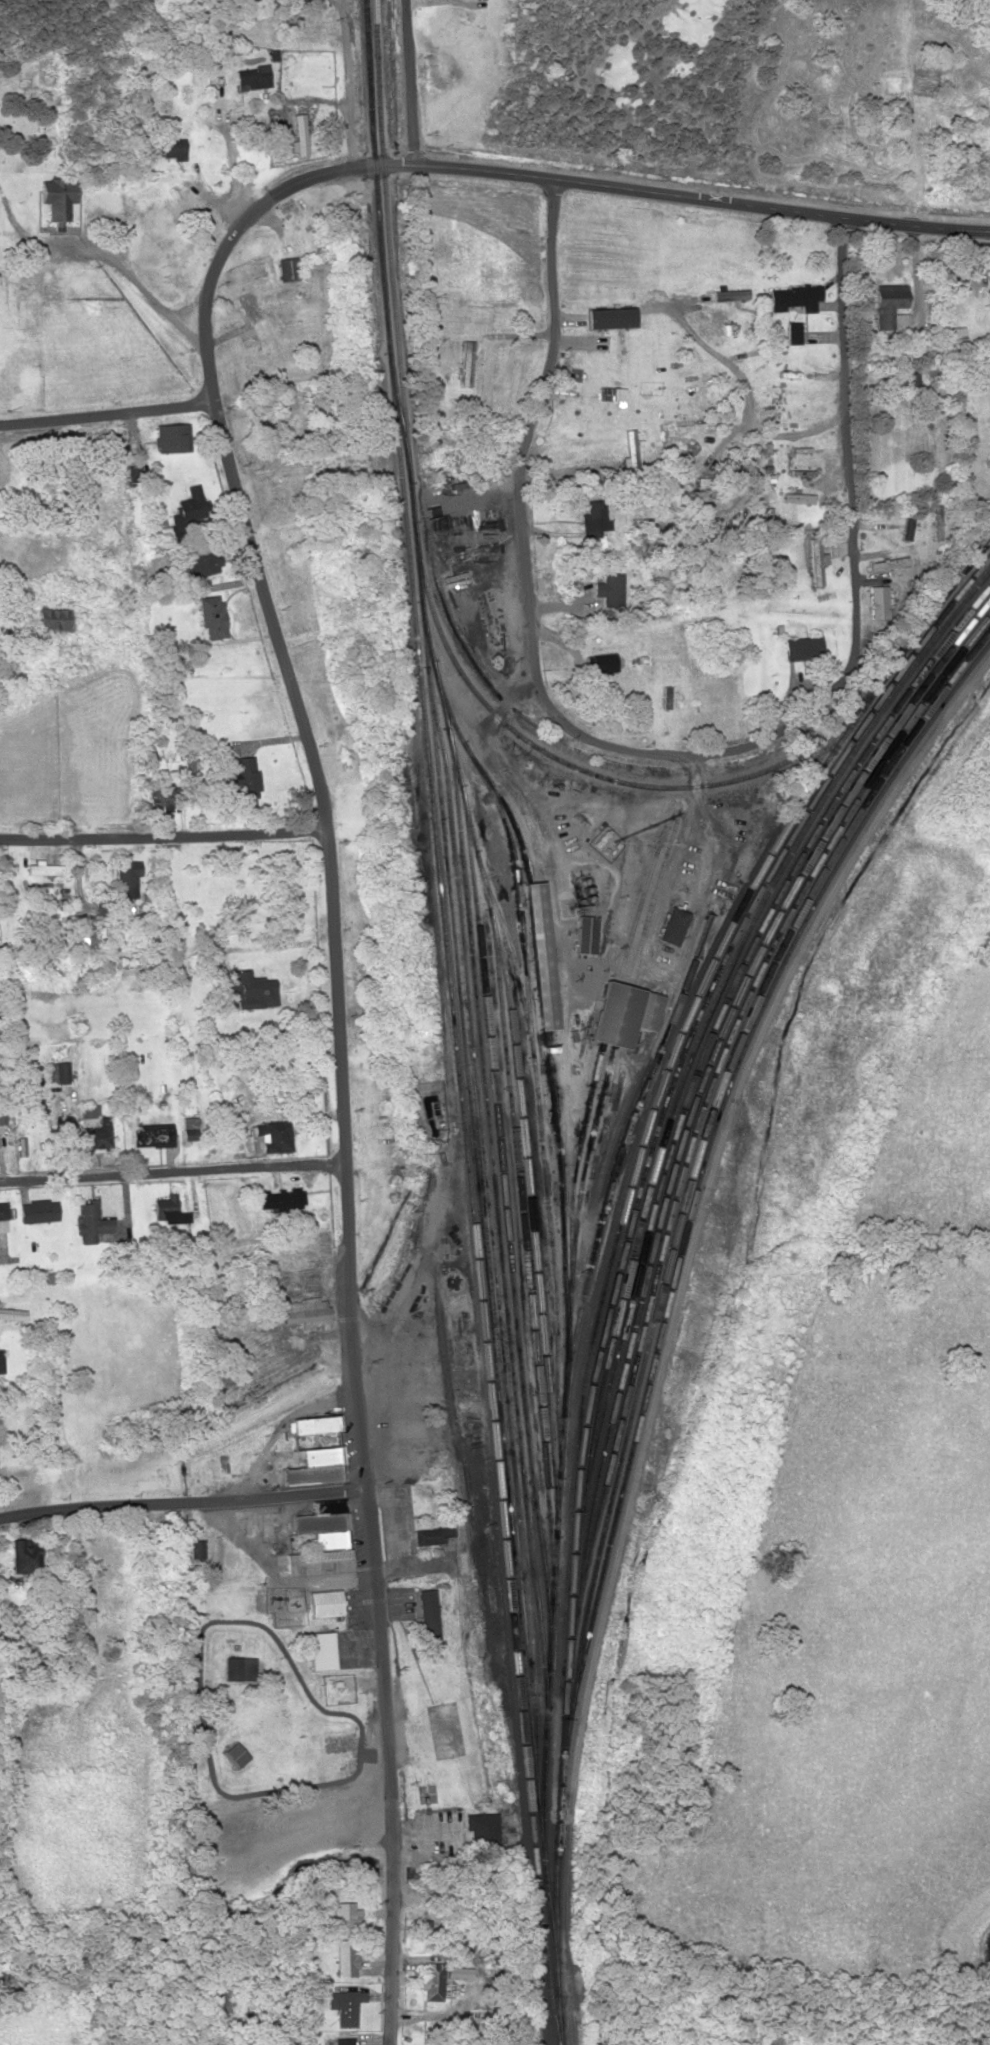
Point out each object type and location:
building: (251, 77)
road: (411, 81)
road: (345, 83)
building: (298, 133)
building: (170, 147)
building: (55, 197)
road: (701, 198)
building: (286, 267)
building: (497, 274)
building: (731, 294)
building: (794, 297)
building: (989, 302)
building: (248, 306)
building: (890, 306)
building: (793, 332)
building: (465, 362)
building: (934, 381)
building: (595, 403)
road: (105, 411)
building: (169, 436)
building: (703, 485)
building: (798, 497)
building: (189, 507)
building: (594, 518)
building: (936, 522)
building: (907, 528)
building: (815, 561)
building: (200, 563)
building: (888, 563)
railway: (421, 568)
building: (453, 578)
building: (612, 590)
building: (207, 610)
building: (50, 619)
building: (802, 648)
building: (601, 663)
road: (308, 749)
road: (661, 750)
building: (243, 778)
building: (161, 794)
railway: (509, 825)
road: (162, 835)
building: (42, 868)
building: (124, 875)
building: (674, 925)
building: (585, 934)
building: (539, 956)
railway: (711, 958)
building: (209, 959)
railway: (722, 983)
building: (246, 989)
building: (624, 1014)
railway: (723, 1020)
railway: (713, 1021)
railway: (455, 1022)
railway: (549, 1060)
railway: (535, 1065)
building: (56, 1073)
railway: (702, 1092)
railway: (708, 1105)
building: (89, 1126)
building: (148, 1132)
building: (267, 1135)
railway: (580, 1137)
railway: (705, 1146)
road: (172, 1172)
railway: (581, 1173)
building: (280, 1198)
railway: (520, 1207)
building: (37, 1210)
building: (168, 1210)
building: (2, 1212)
railway: (506, 1212)
railway: (531, 1217)
building: (91, 1221)
railway: (491, 1235)
railway: (499, 1240)
railway: (485, 1251)
railway: (619, 1251)
building: (306, 1312)
railway: (567, 1353)
building: (0, 1364)
building: (314, 1424)
building: (3, 1433)
building: (315, 1466)
road: (182, 1501)
building: (434, 1534)
building: (321, 1539)
building: (195, 1548)
building: (23, 1559)
building: (325, 1602)
building: (429, 1616)
building: (238, 1667)
road: (381, 1681)
building: (235, 1754)
building: (347, 1826)
building: (482, 1828)
building: (346, 1957)
road: (388, 1961)
building: (432, 1981)
building: (344, 2005)
crop: (39, 2024)
building: (344, 2041)

